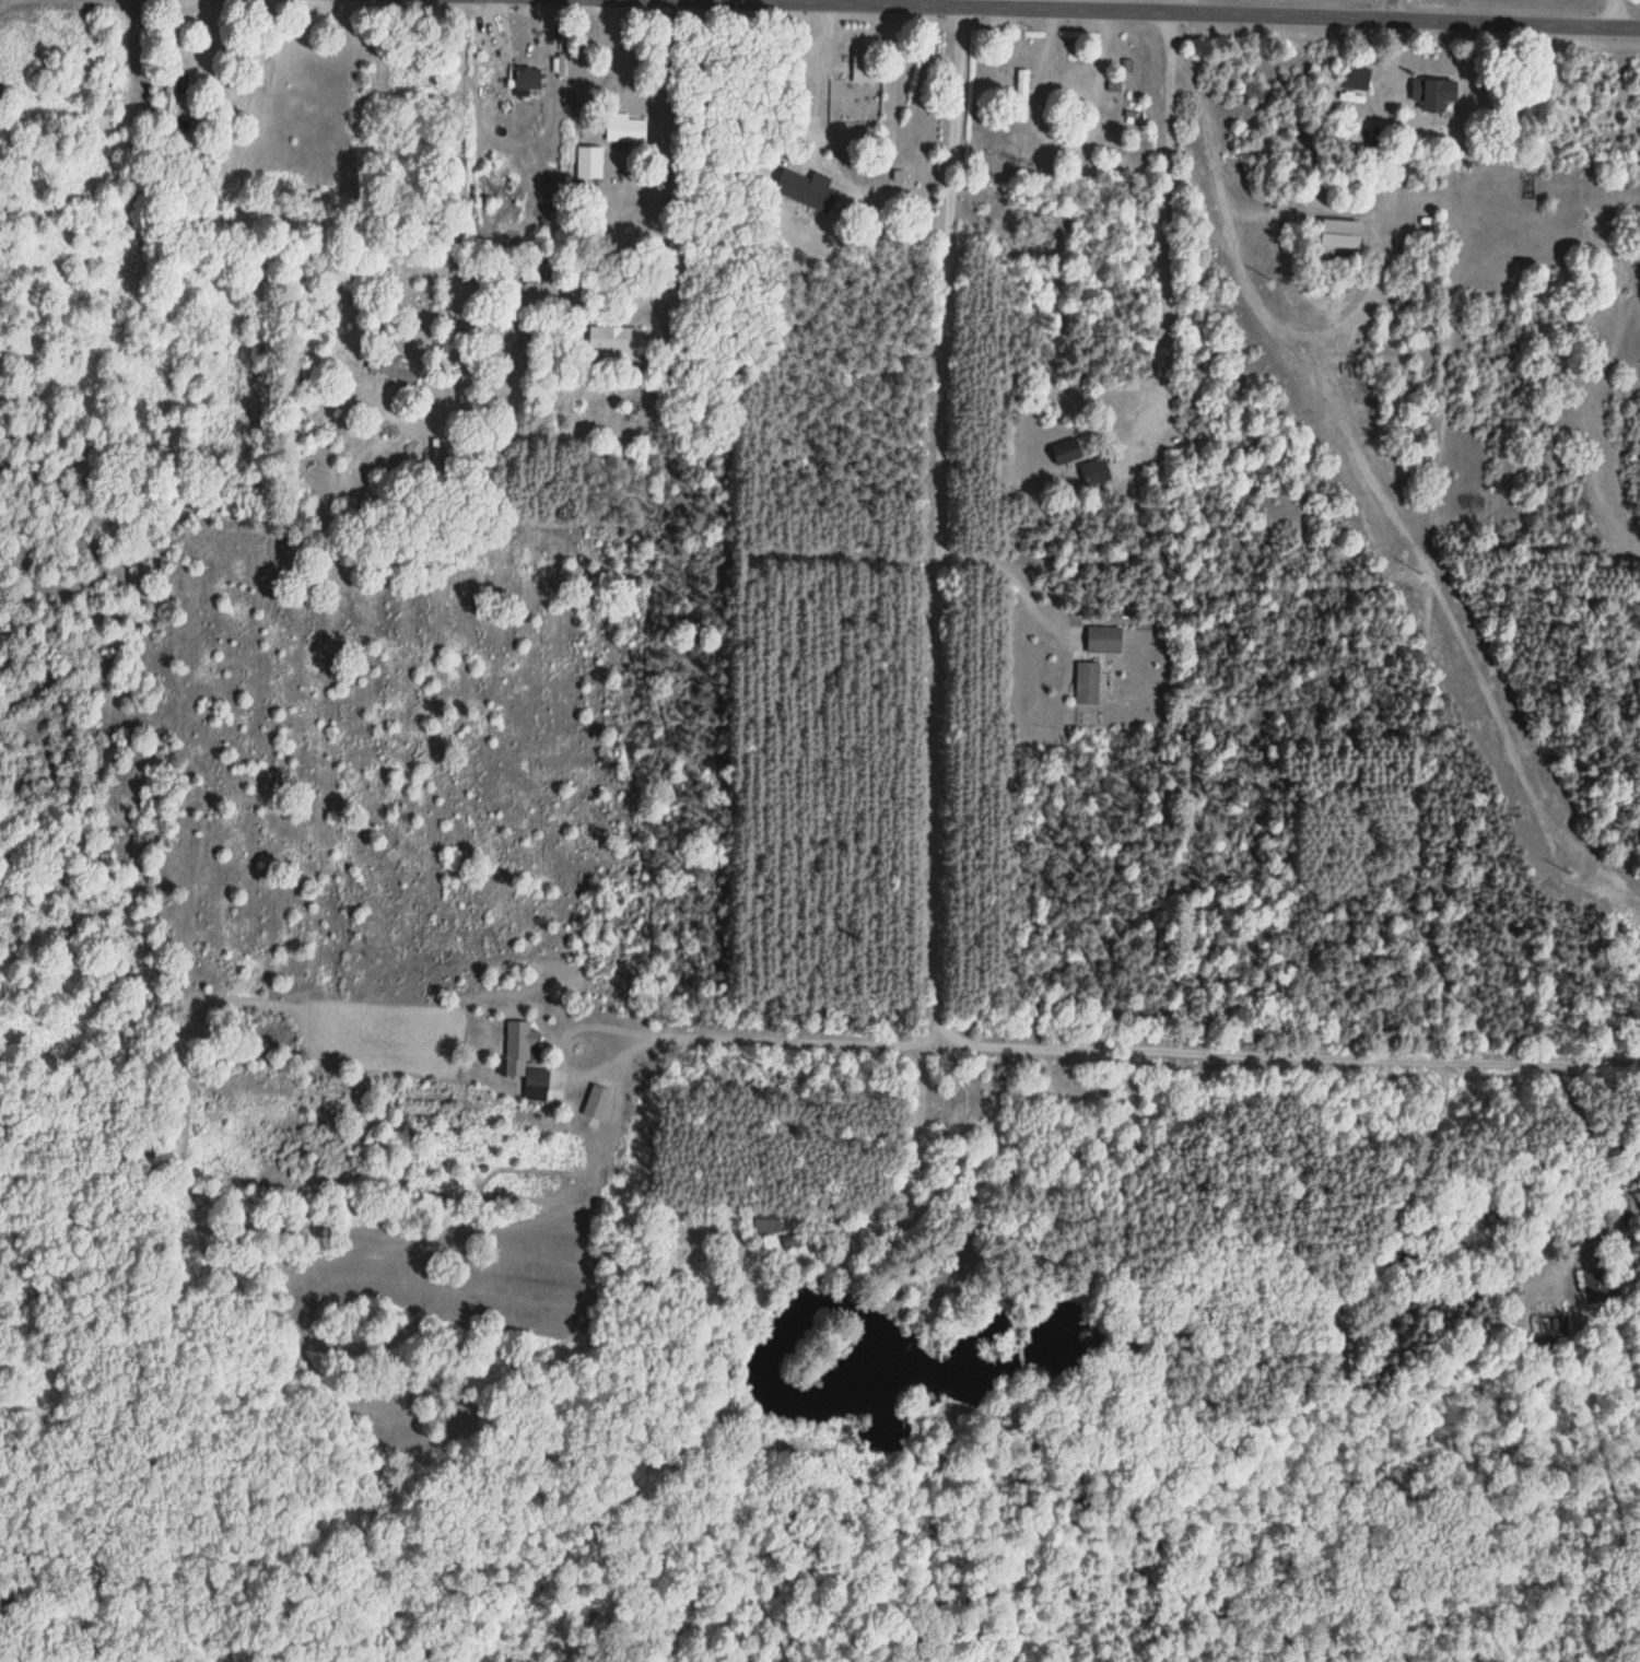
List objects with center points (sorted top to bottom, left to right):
road: (1163, 12)
building: (1126, 68)
building: (864, 72)
building: (526, 80)
building: (1356, 80)
building: (816, 86)
building: (1438, 95)
building: (1020, 96)
building: (623, 130)
building: (588, 163)
building: (529, 273)
building: (375, 365)
building: (1067, 453)
building: (1100, 470)
road: (942, 524)
building: (1103, 641)
building: (1085, 684)
road: (1149, 1050)
building: (512, 1064)
building: (1079, 1095)
building: (596, 1104)
building: (731, 1217)
building: (770, 1228)

